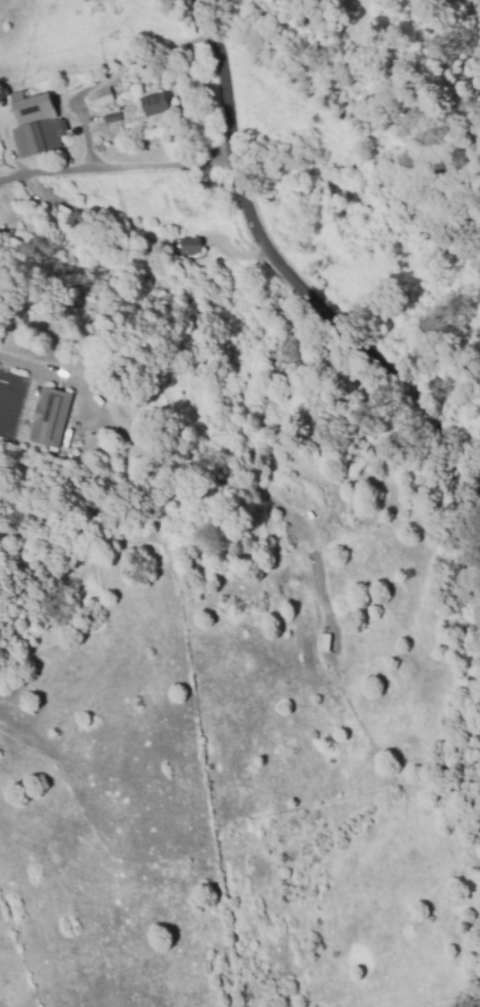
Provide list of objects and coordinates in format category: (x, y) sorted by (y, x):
building: (108, 62)
building: (100, 97)
building: (155, 103)
building: (111, 117)
building: (34, 124)
building: (188, 246)
road: (314, 300)
building: (49, 417)

